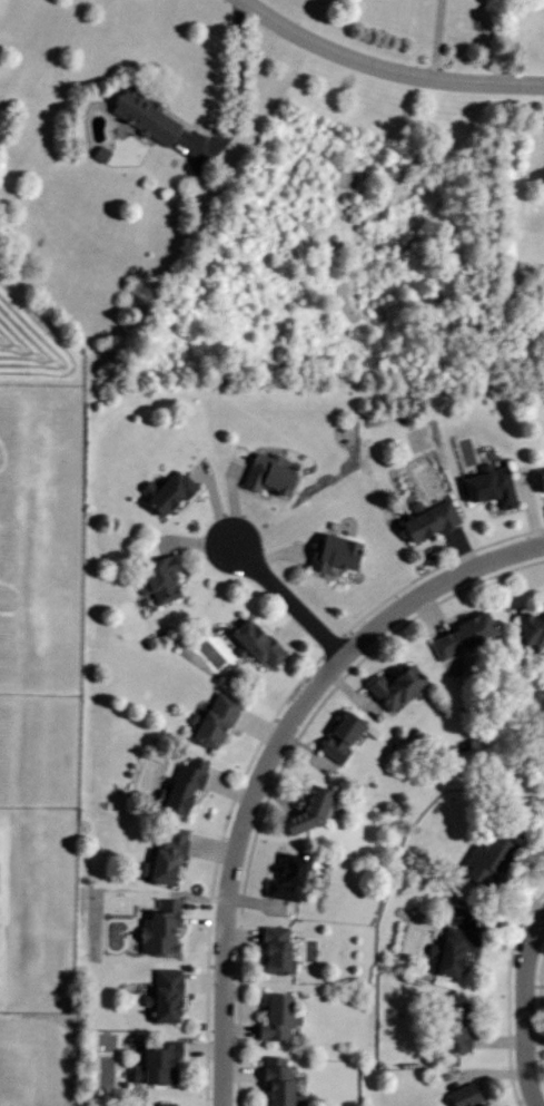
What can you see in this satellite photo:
road: (435, 40)
road: (385, 70)
road: (237, 89)
building: (141, 115)
building: (98, 153)
building: (264, 473)
building: (540, 479)
building: (487, 486)
building: (165, 490)
building: (426, 519)
building: (330, 551)
building: (159, 577)
road: (286, 599)
building: (531, 627)
building: (461, 634)
building: (255, 643)
building: (390, 687)
building: (212, 720)
building: (337, 736)
road: (269, 755)
road: (286, 770)
building: (542, 773)
building: (179, 785)
building: (307, 810)
building: (162, 853)
building: (481, 860)
building: (285, 878)
building: (158, 929)
building: (274, 951)
building: (447, 951)
building: (161, 995)
road: (512, 998)
road: (524, 1010)
building: (273, 1018)
building: (452, 1029)
building: (155, 1064)
building: (275, 1081)
building: (465, 1095)
building: (164, 1103)

